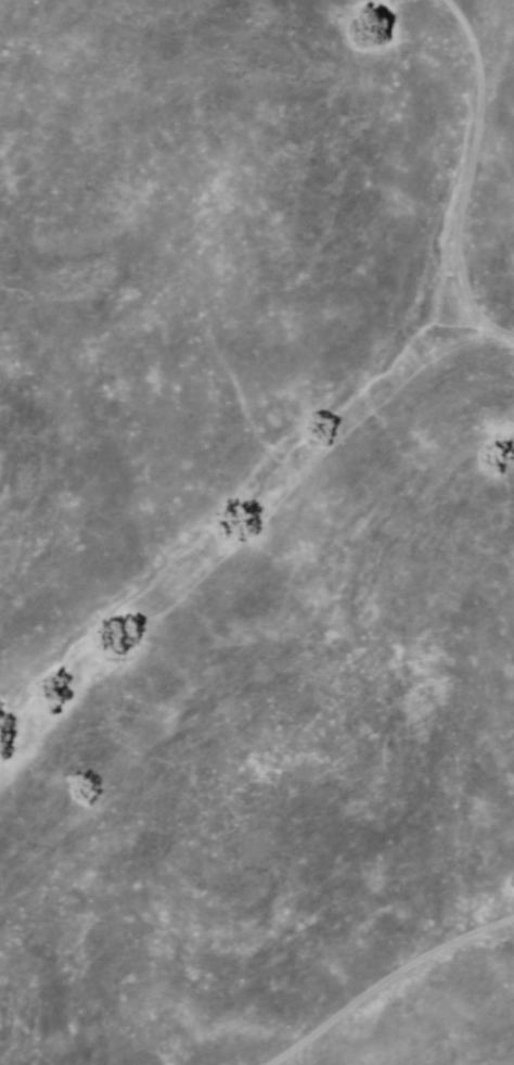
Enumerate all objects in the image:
road: (471, 173)
road: (386, 981)

